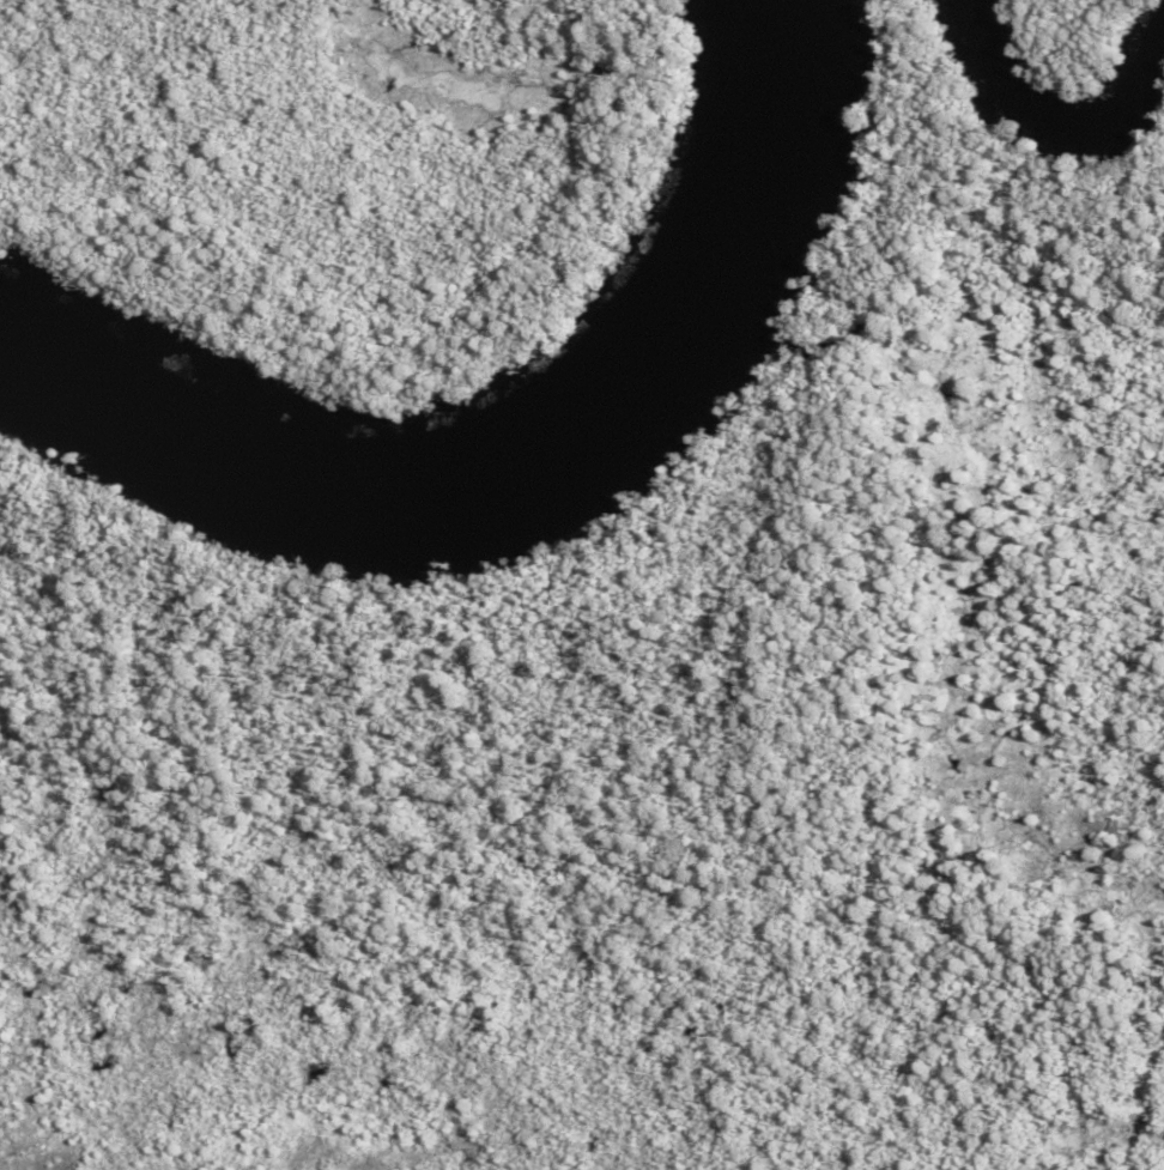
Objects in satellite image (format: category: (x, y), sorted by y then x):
river: (1049, 121)

